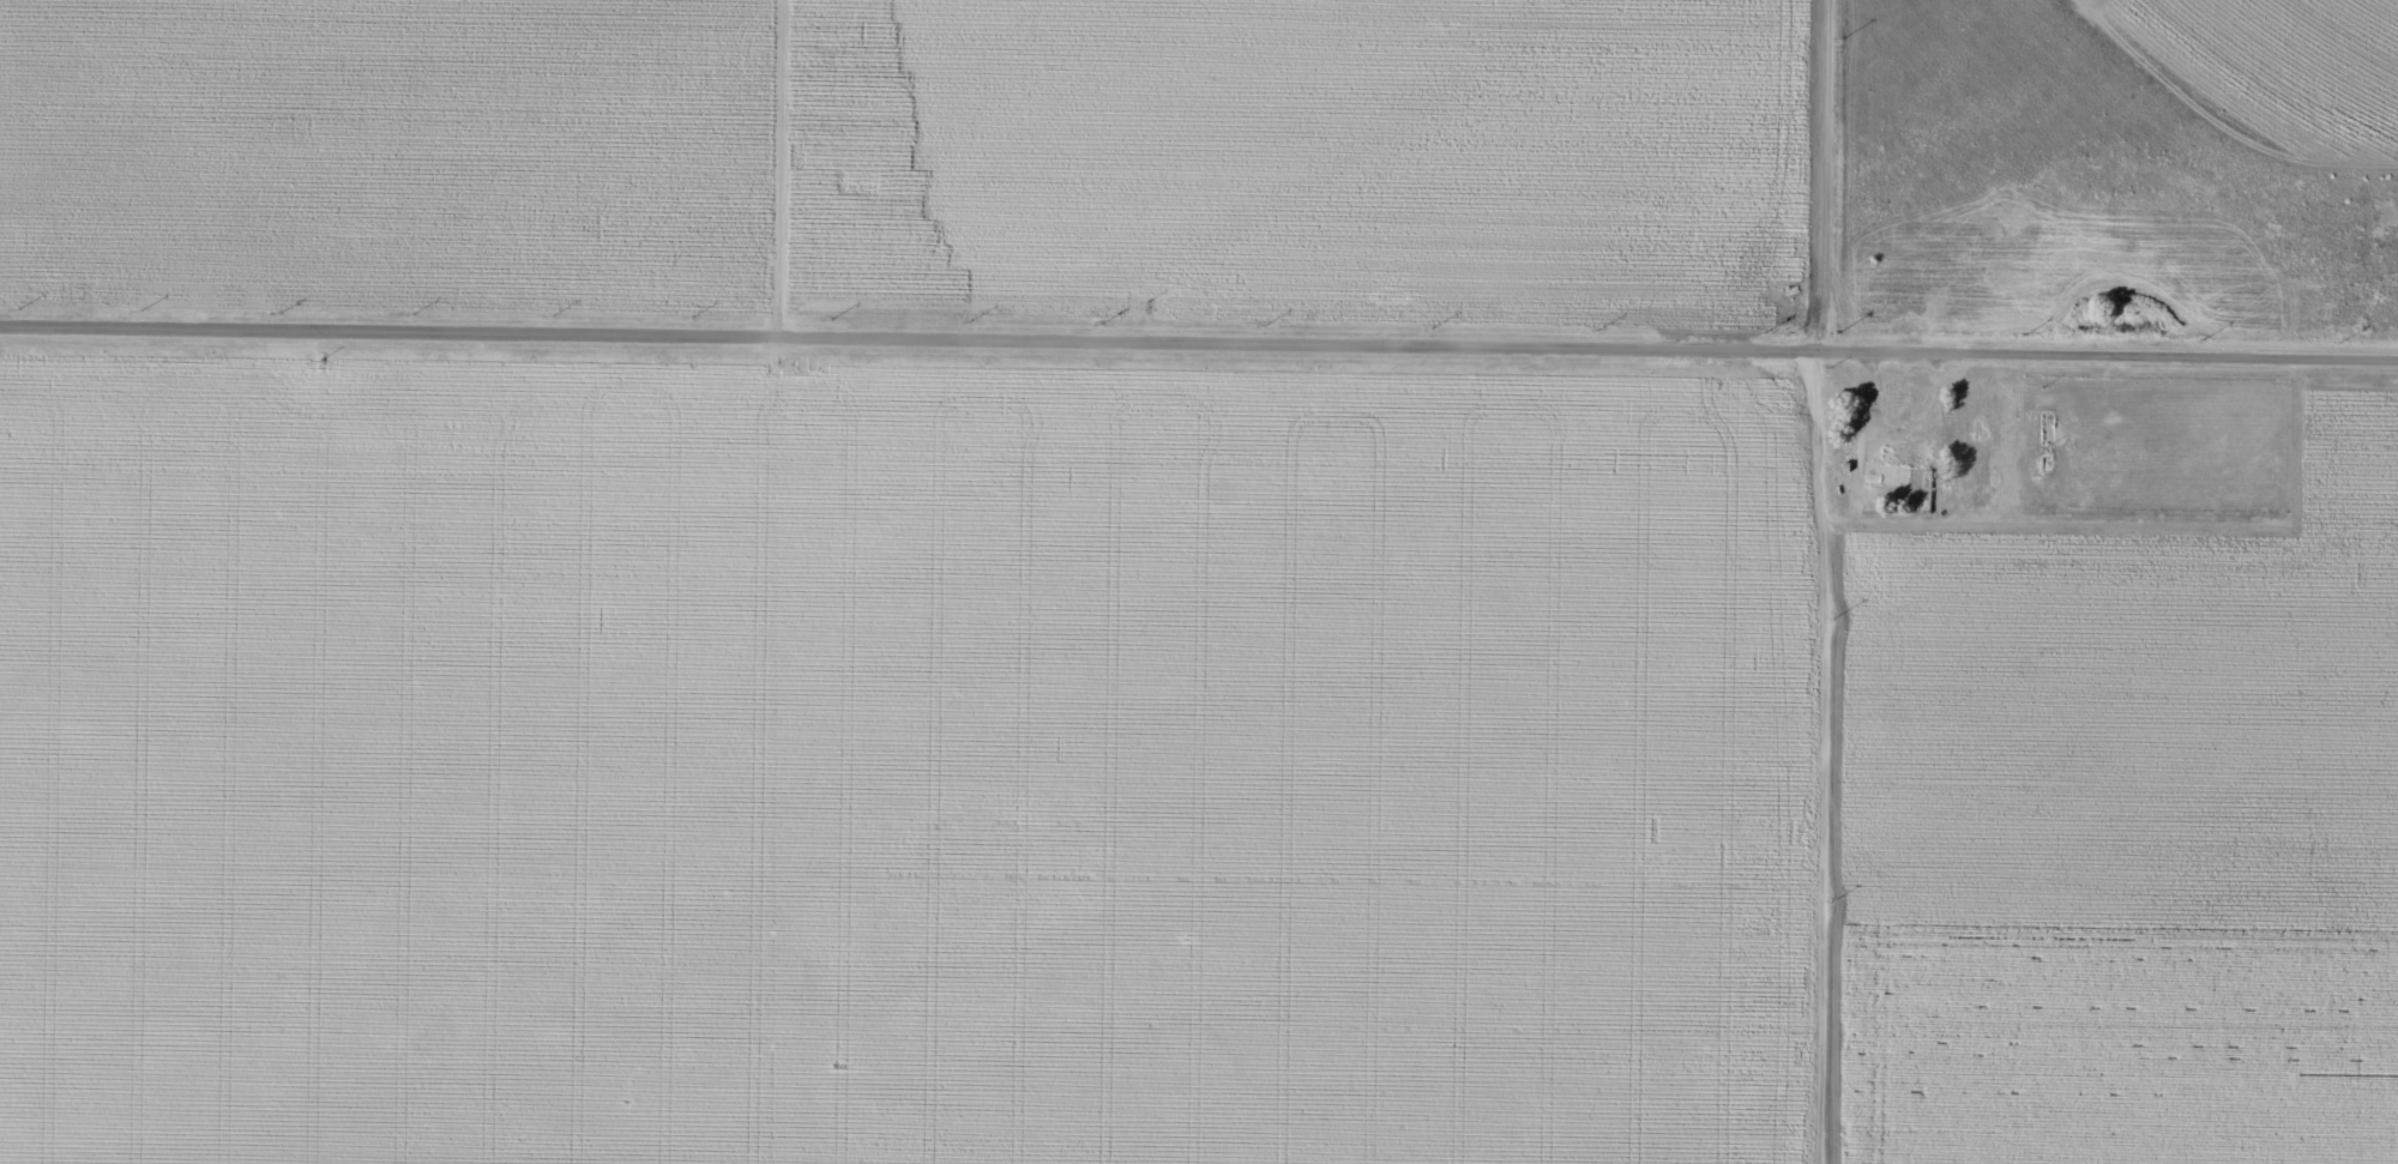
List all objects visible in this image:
road: (1851, 173)
road: (924, 334)
road: (2123, 350)

